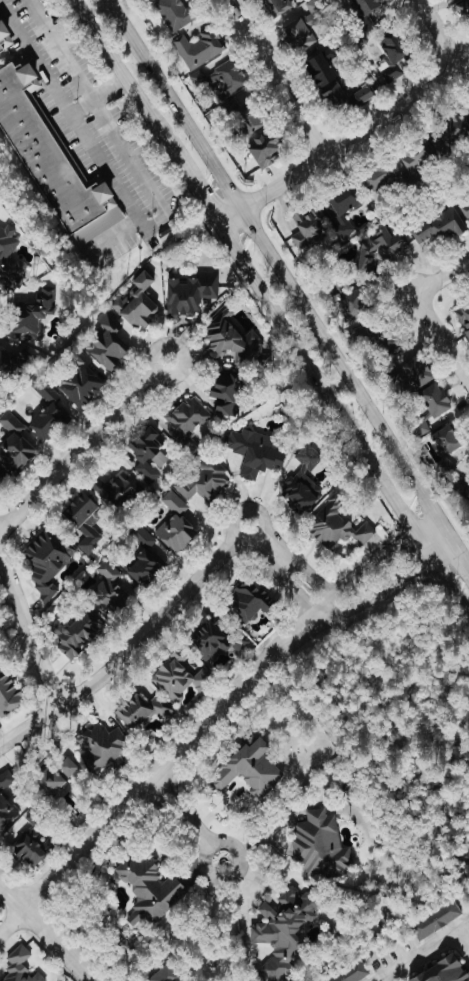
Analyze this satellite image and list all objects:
road: (106, 0)
building: (278, 6)
building: (465, 6)
building: (363, 8)
building: (175, 13)
building: (303, 28)
road: (439, 34)
building: (199, 48)
building: (395, 55)
road: (276, 78)
building: (221, 79)
road: (133, 82)
building: (336, 83)
road: (99, 93)
road: (68, 107)
building: (247, 117)
parking lot: (91, 130)
building: (456, 130)
road: (345, 144)
building: (45, 147)
building: (266, 148)
building: (417, 159)
building: (379, 176)
road: (203, 194)
building: (464, 205)
building: (342, 210)
building: (438, 227)
building: (308, 230)
building: (379, 247)
building: (10, 261)
road: (280, 273)
road: (442, 276)
building: (190, 293)
building: (138, 301)
building: (355, 307)
building: (36, 313)
building: (464, 318)
road: (442, 337)
building: (108, 343)
building: (417, 373)
building: (80, 387)
building: (44, 390)
building: (227, 391)
building: (436, 399)
road: (344, 415)
building: (187, 417)
building: (49, 420)
building: (14, 444)
building: (448, 444)
road: (84, 446)
building: (256, 452)
building: (148, 455)
building: (2, 480)
building: (203, 482)
building: (302, 483)
building: (115, 491)
building: (466, 491)
building: (84, 521)
building: (175, 525)
building: (336, 525)
road: (463, 553)
road: (377, 559)
building: (47, 560)
building: (145, 567)
road: (316, 580)
road: (394, 584)
building: (106, 589)
road: (300, 593)
building: (252, 602)
building: (55, 628)
road: (30, 630)
road: (146, 632)
building: (79, 634)
building: (216, 640)
building: (0, 650)
building: (180, 677)
building: (9, 695)
building: (143, 710)
building: (103, 746)
building: (68, 768)
building: (248, 769)
road: (160, 770)
building: (54, 784)
building: (6, 801)
road: (182, 812)
building: (34, 842)
building: (320, 846)
road: (237, 851)
building: (149, 890)
building: (435, 919)
road: (44, 929)
road: (423, 952)
building: (19, 967)
building: (443, 971)
building: (349, 973)
building: (166, 974)

